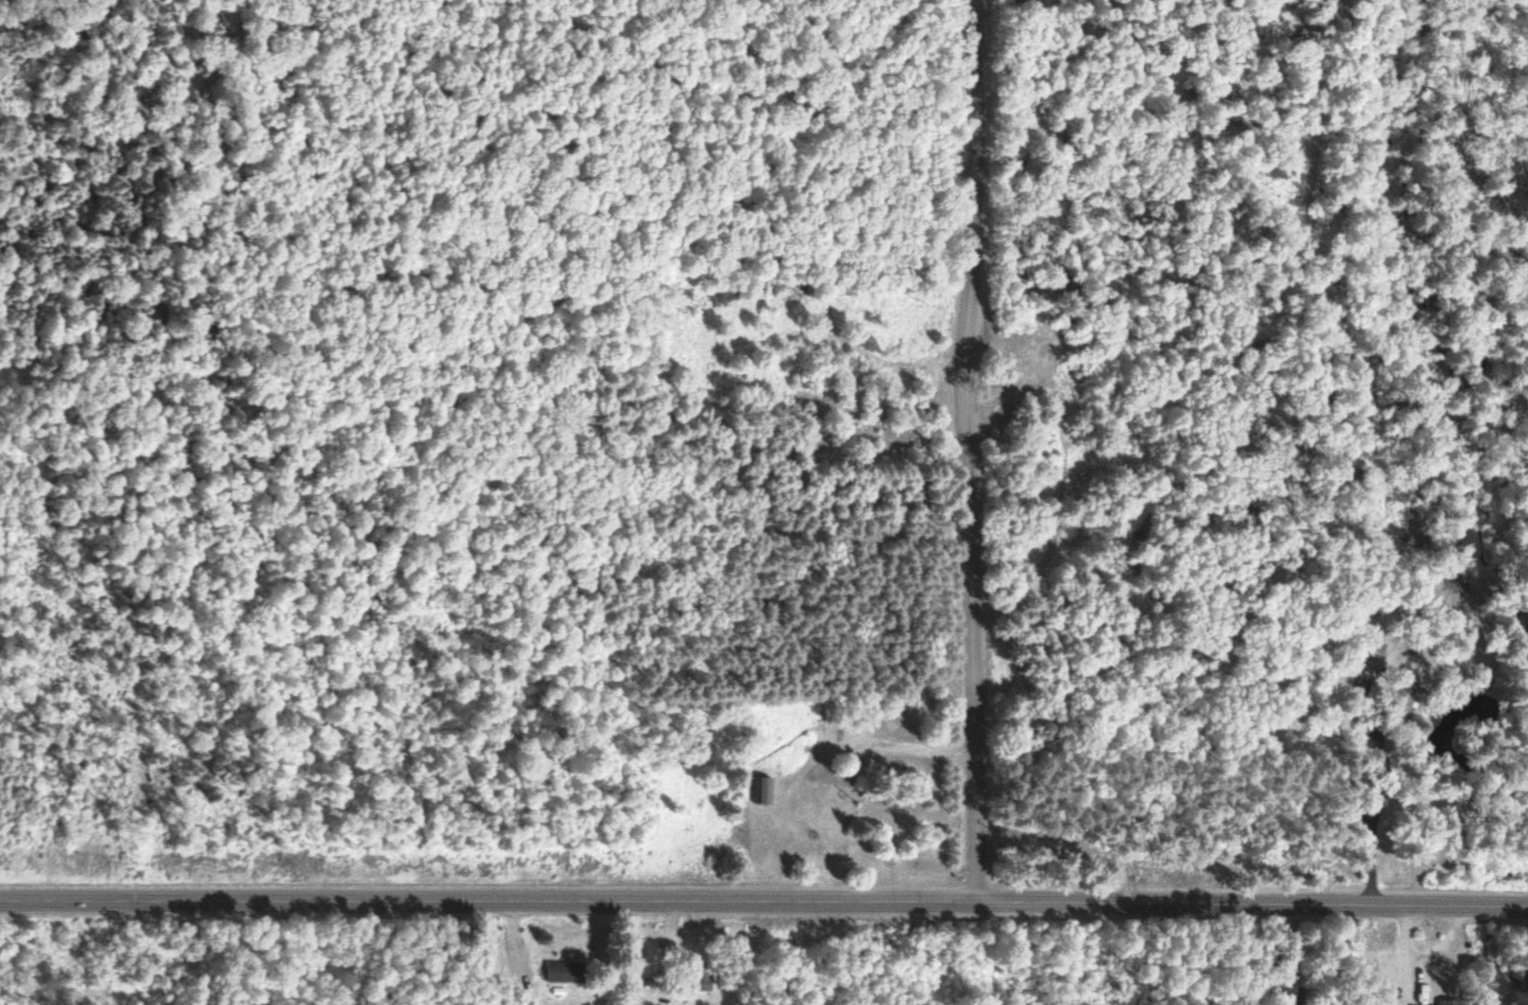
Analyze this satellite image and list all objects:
road: (970, 450)
building: (1369, 656)
building: (1407, 696)
building: (765, 791)
road: (764, 901)
building: (567, 972)
building: (702, 977)
building: (1286, 1001)
building: (1450, 1002)

